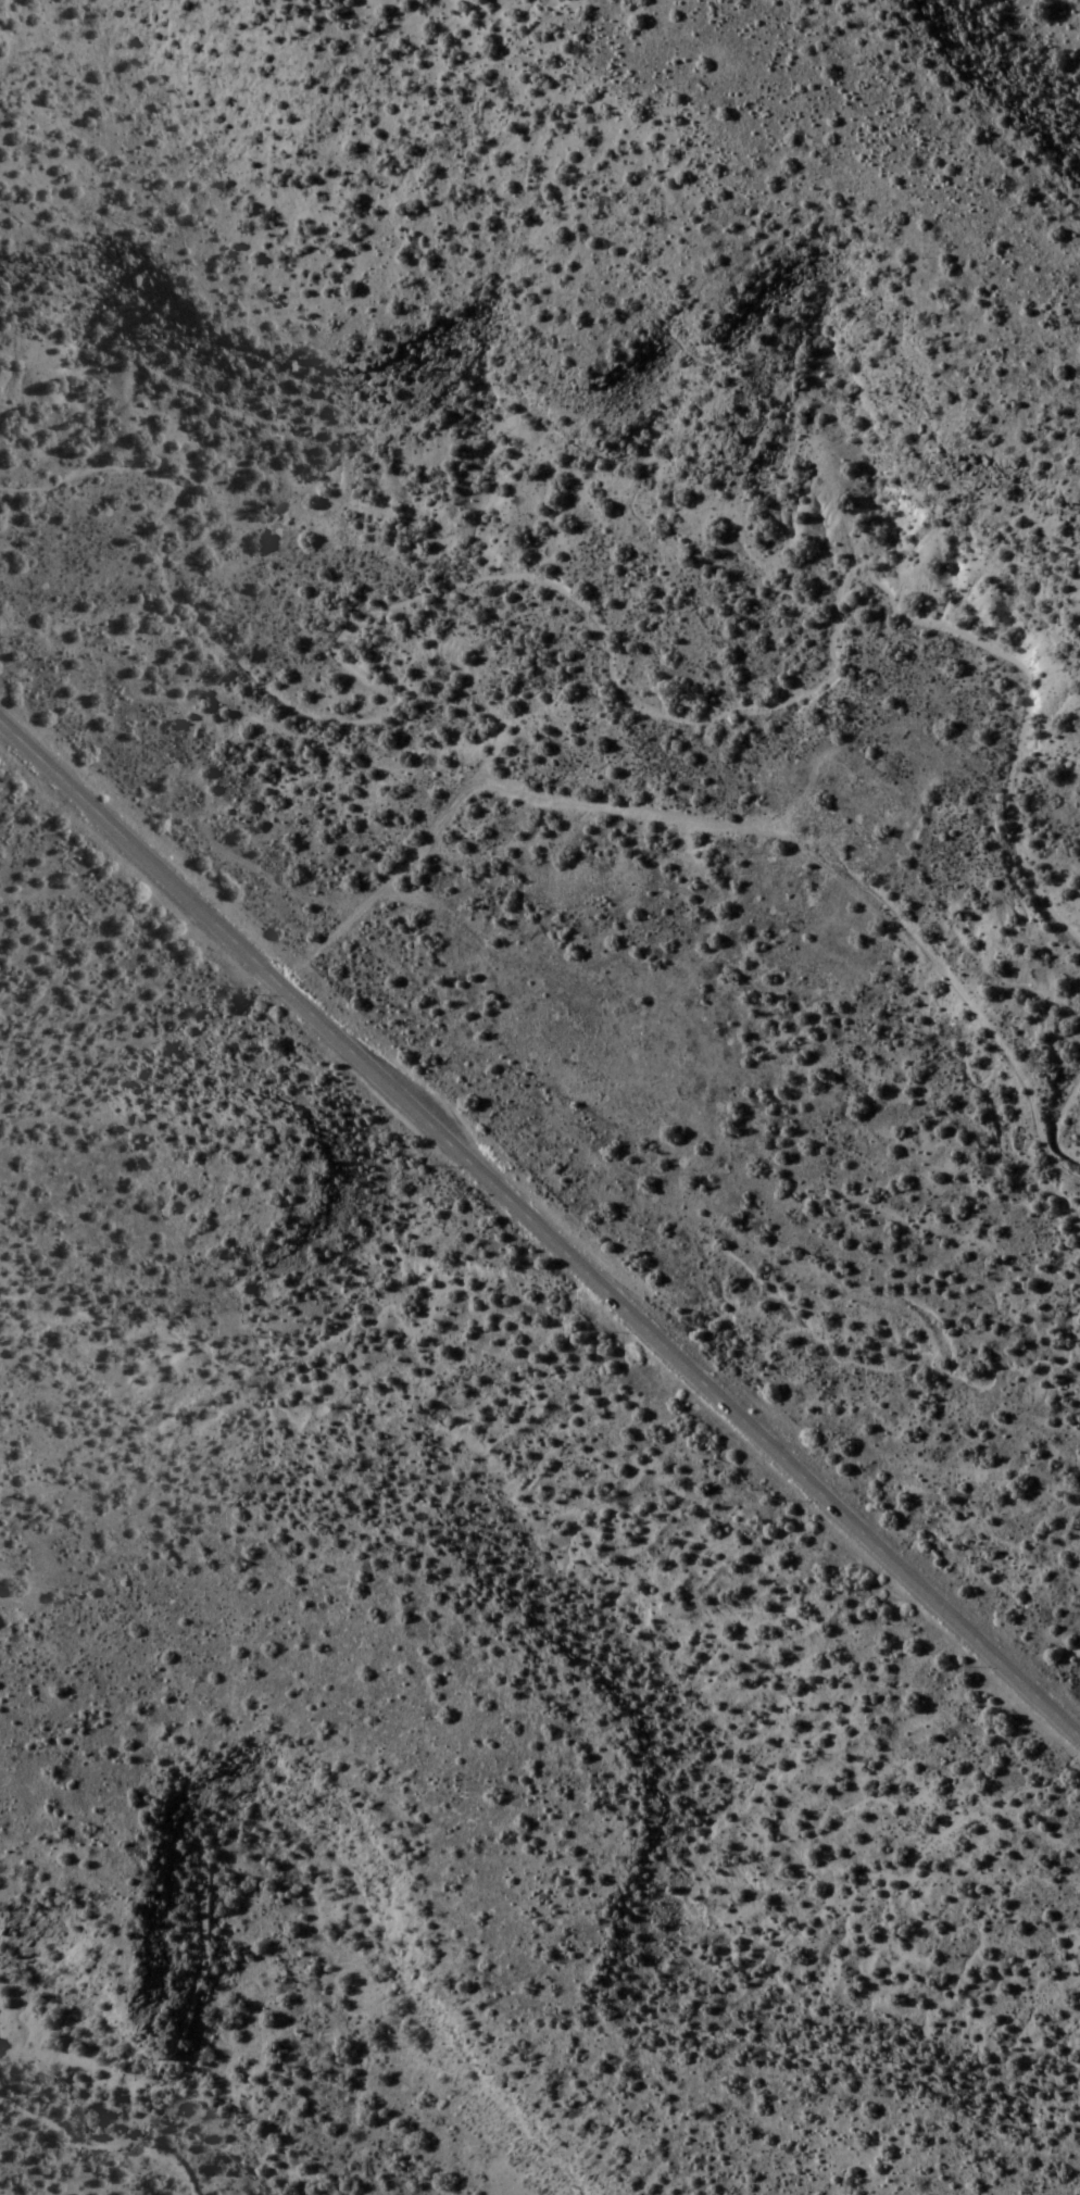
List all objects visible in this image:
road: (540, 1228)

